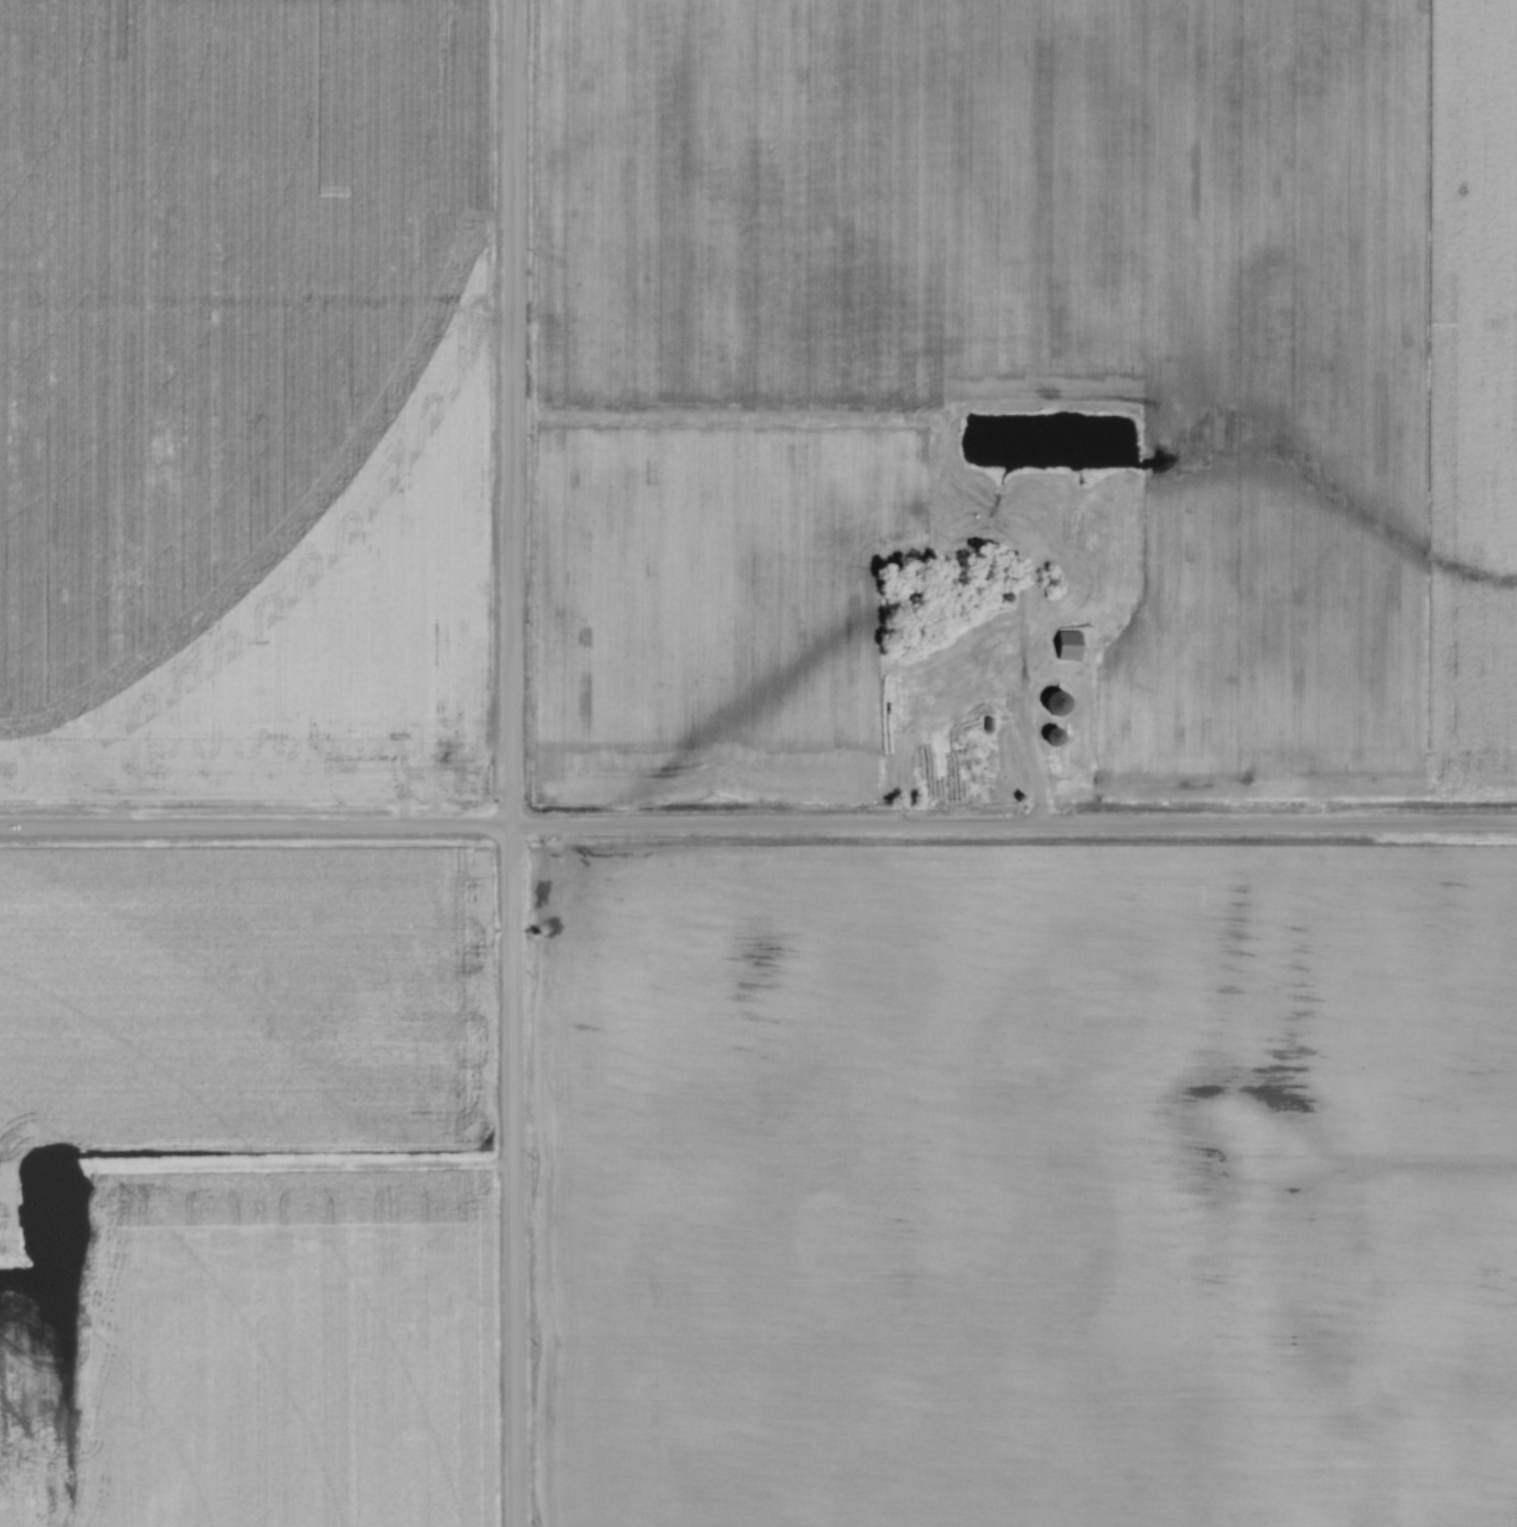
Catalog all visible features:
building: (1074, 645)
building: (1063, 702)
building: (1060, 737)
road: (509, 763)
road: (758, 830)

